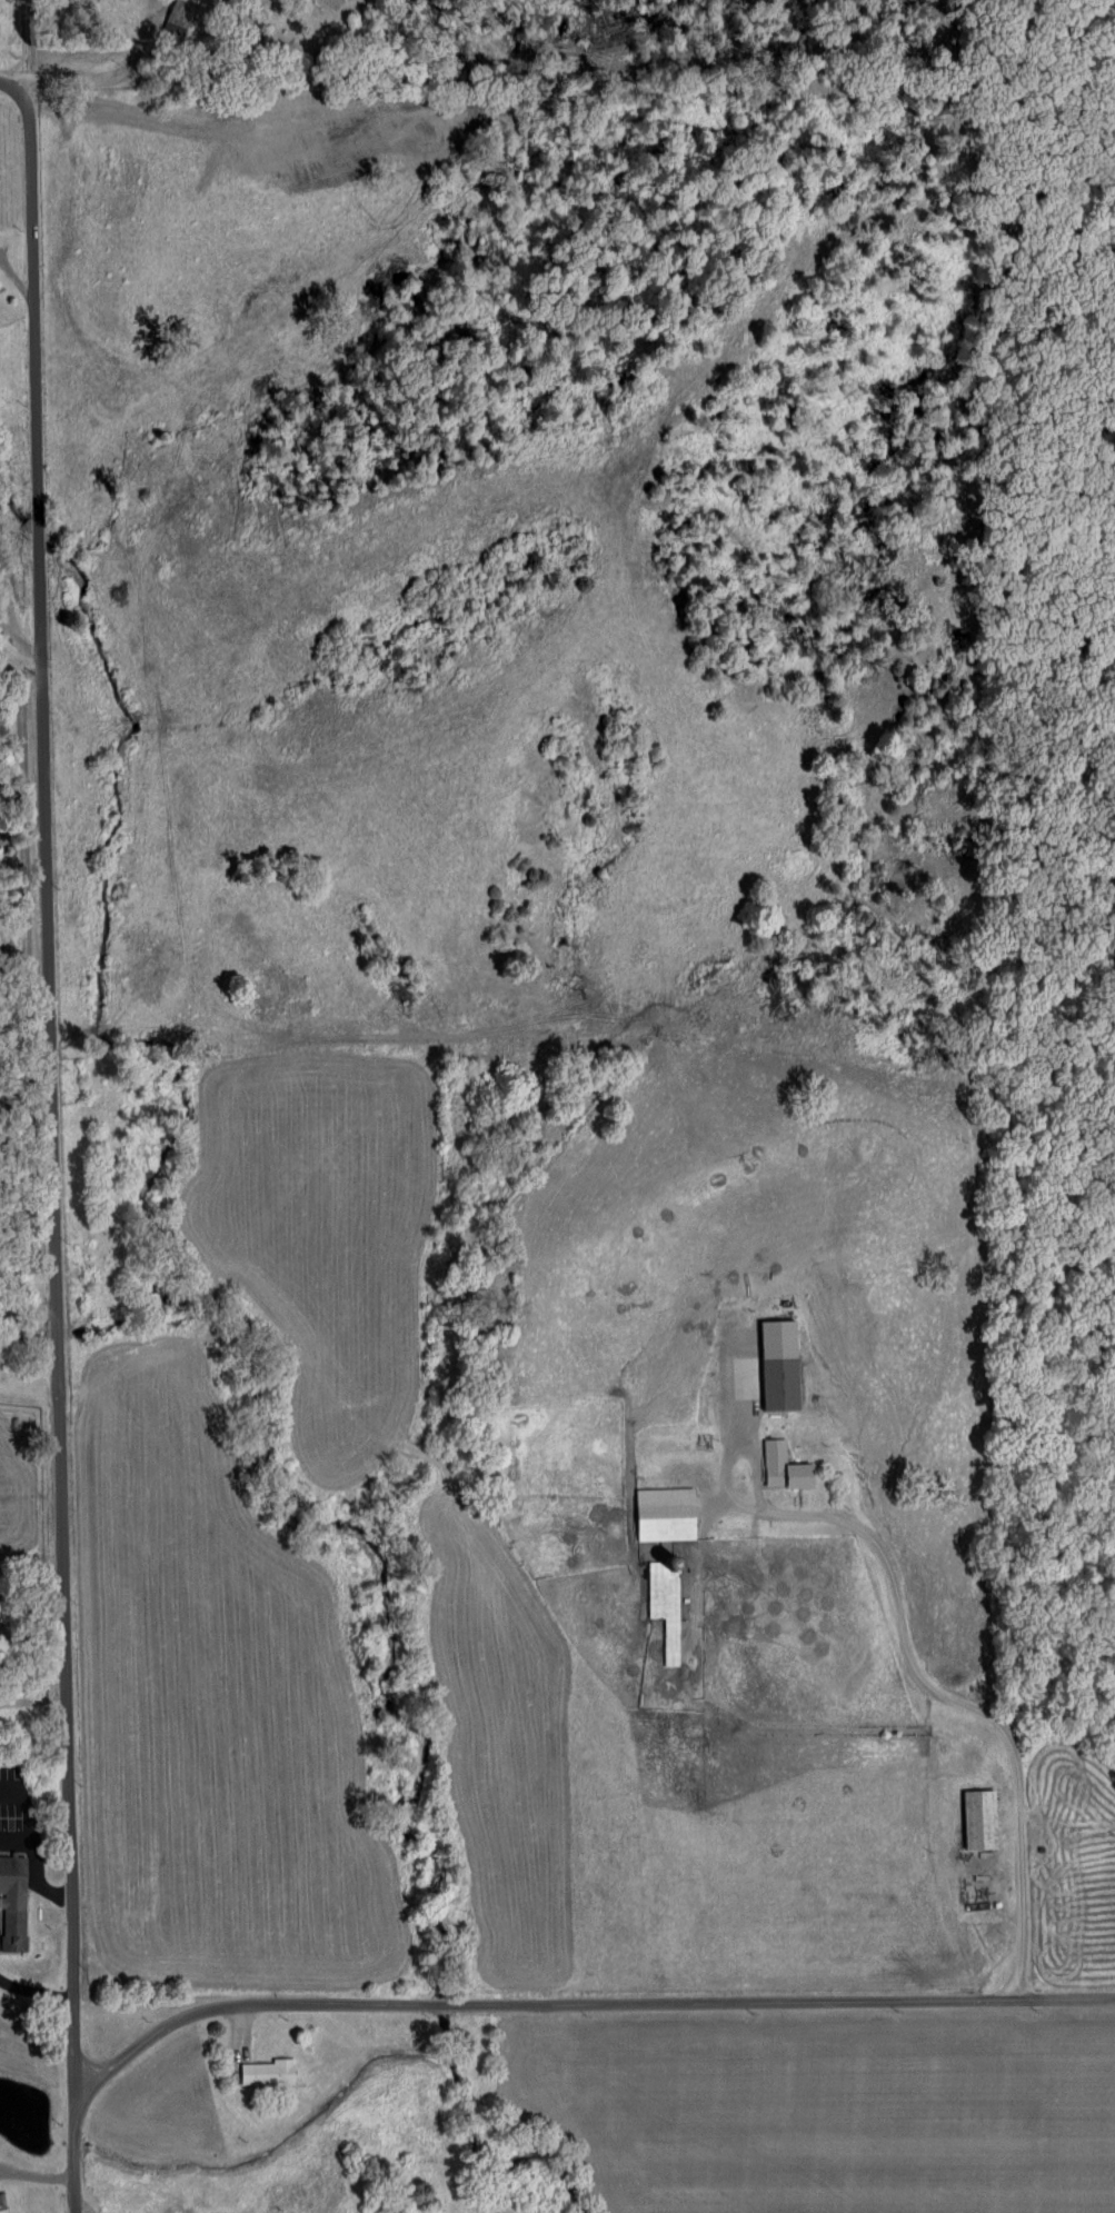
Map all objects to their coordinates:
building: (180, 14)
road: (7, 620)
road: (23, 651)
road: (49, 1144)
building: (776, 1385)
building: (779, 1469)
road: (719, 1488)
building: (661, 1515)
road: (968, 1698)
building: (976, 1820)
building: (10, 1903)
road: (581, 2006)
building: (263, 2073)
road: (36, 2180)
building: (1, 2204)
road: (80, 2207)

